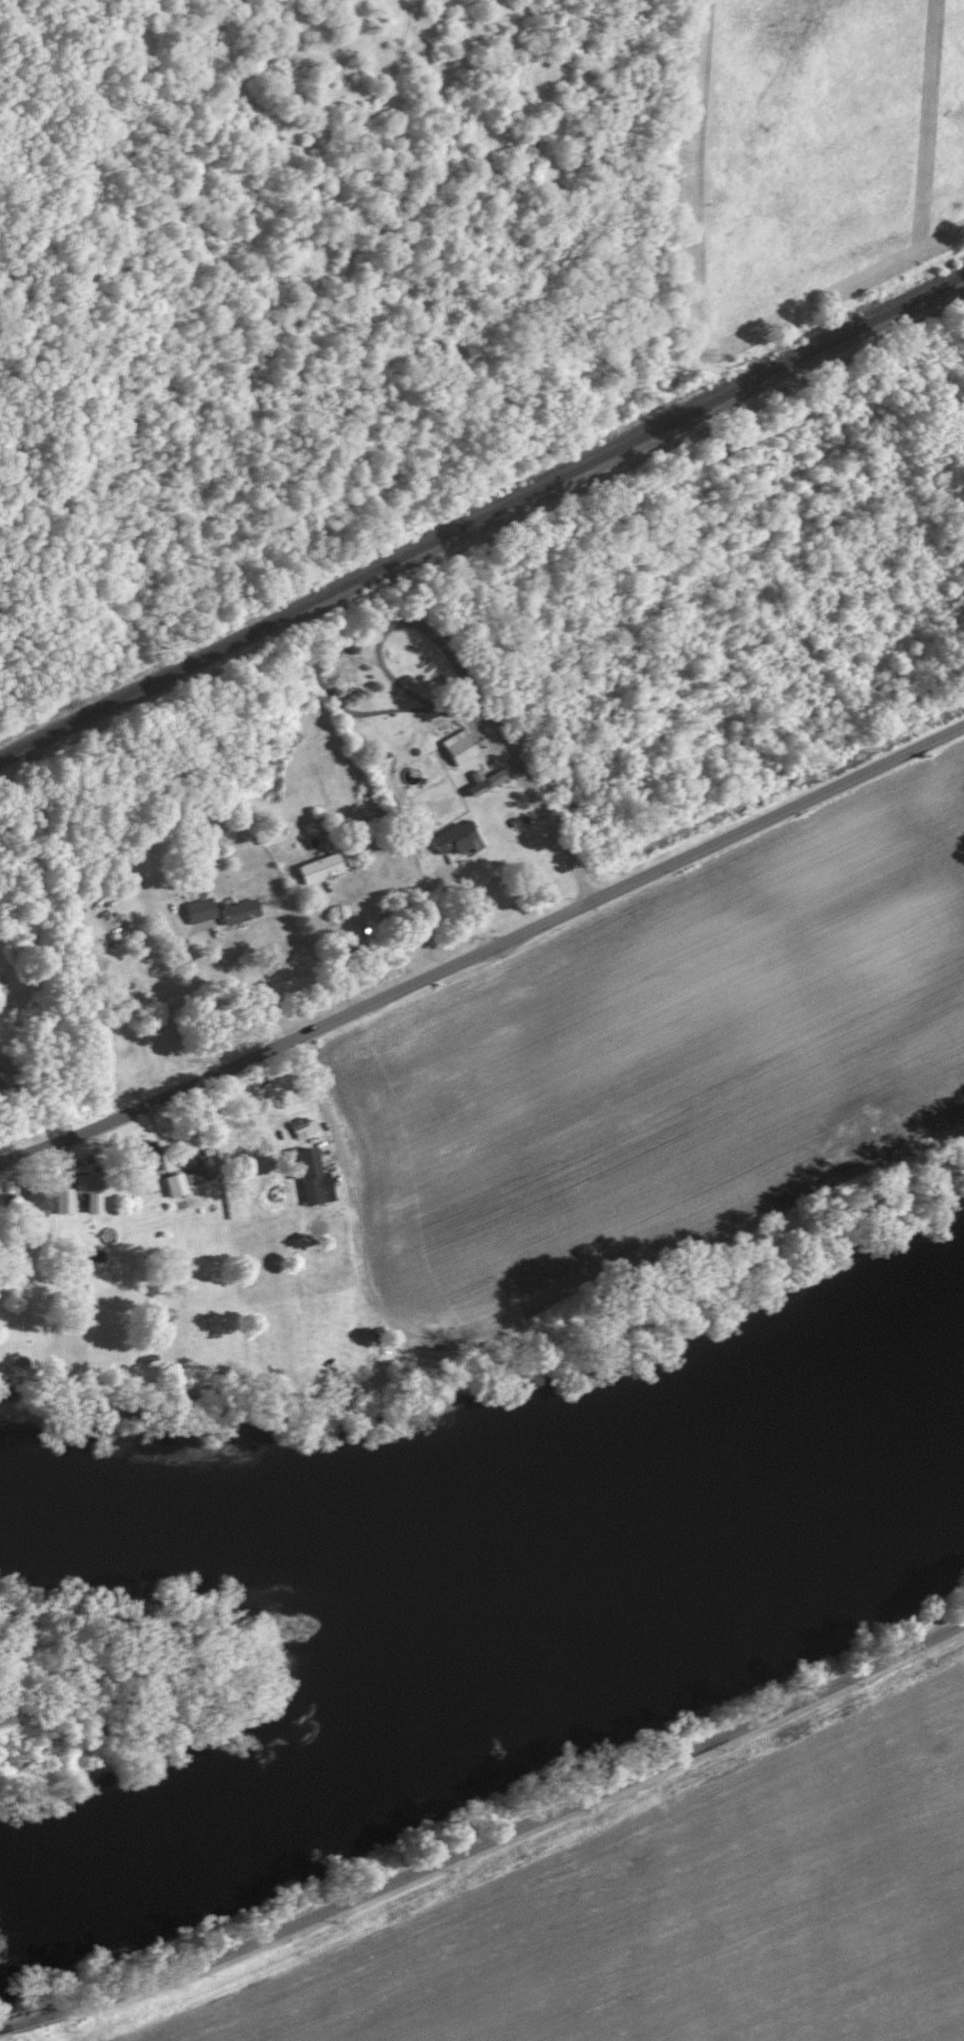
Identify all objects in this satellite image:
railway: (475, 486)
building: (467, 753)
building: (491, 782)
road: (546, 834)
building: (465, 845)
building: (316, 868)
building: (332, 870)
building: (197, 911)
building: (211, 911)
building: (236, 911)
building: (252, 913)
road: (484, 950)
road: (327, 952)
building: (3, 1081)
building: (299, 1106)
building: (310, 1130)
building: (144, 1157)
building: (309, 1178)
building: (172, 1185)
building: (187, 1187)
building: (100, 1193)
building: (54, 1197)
building: (35, 1198)
building: (61, 1203)
road: (376, 1312)
river: (304, 1508)
river: (478, 1636)
road: (488, 1837)

